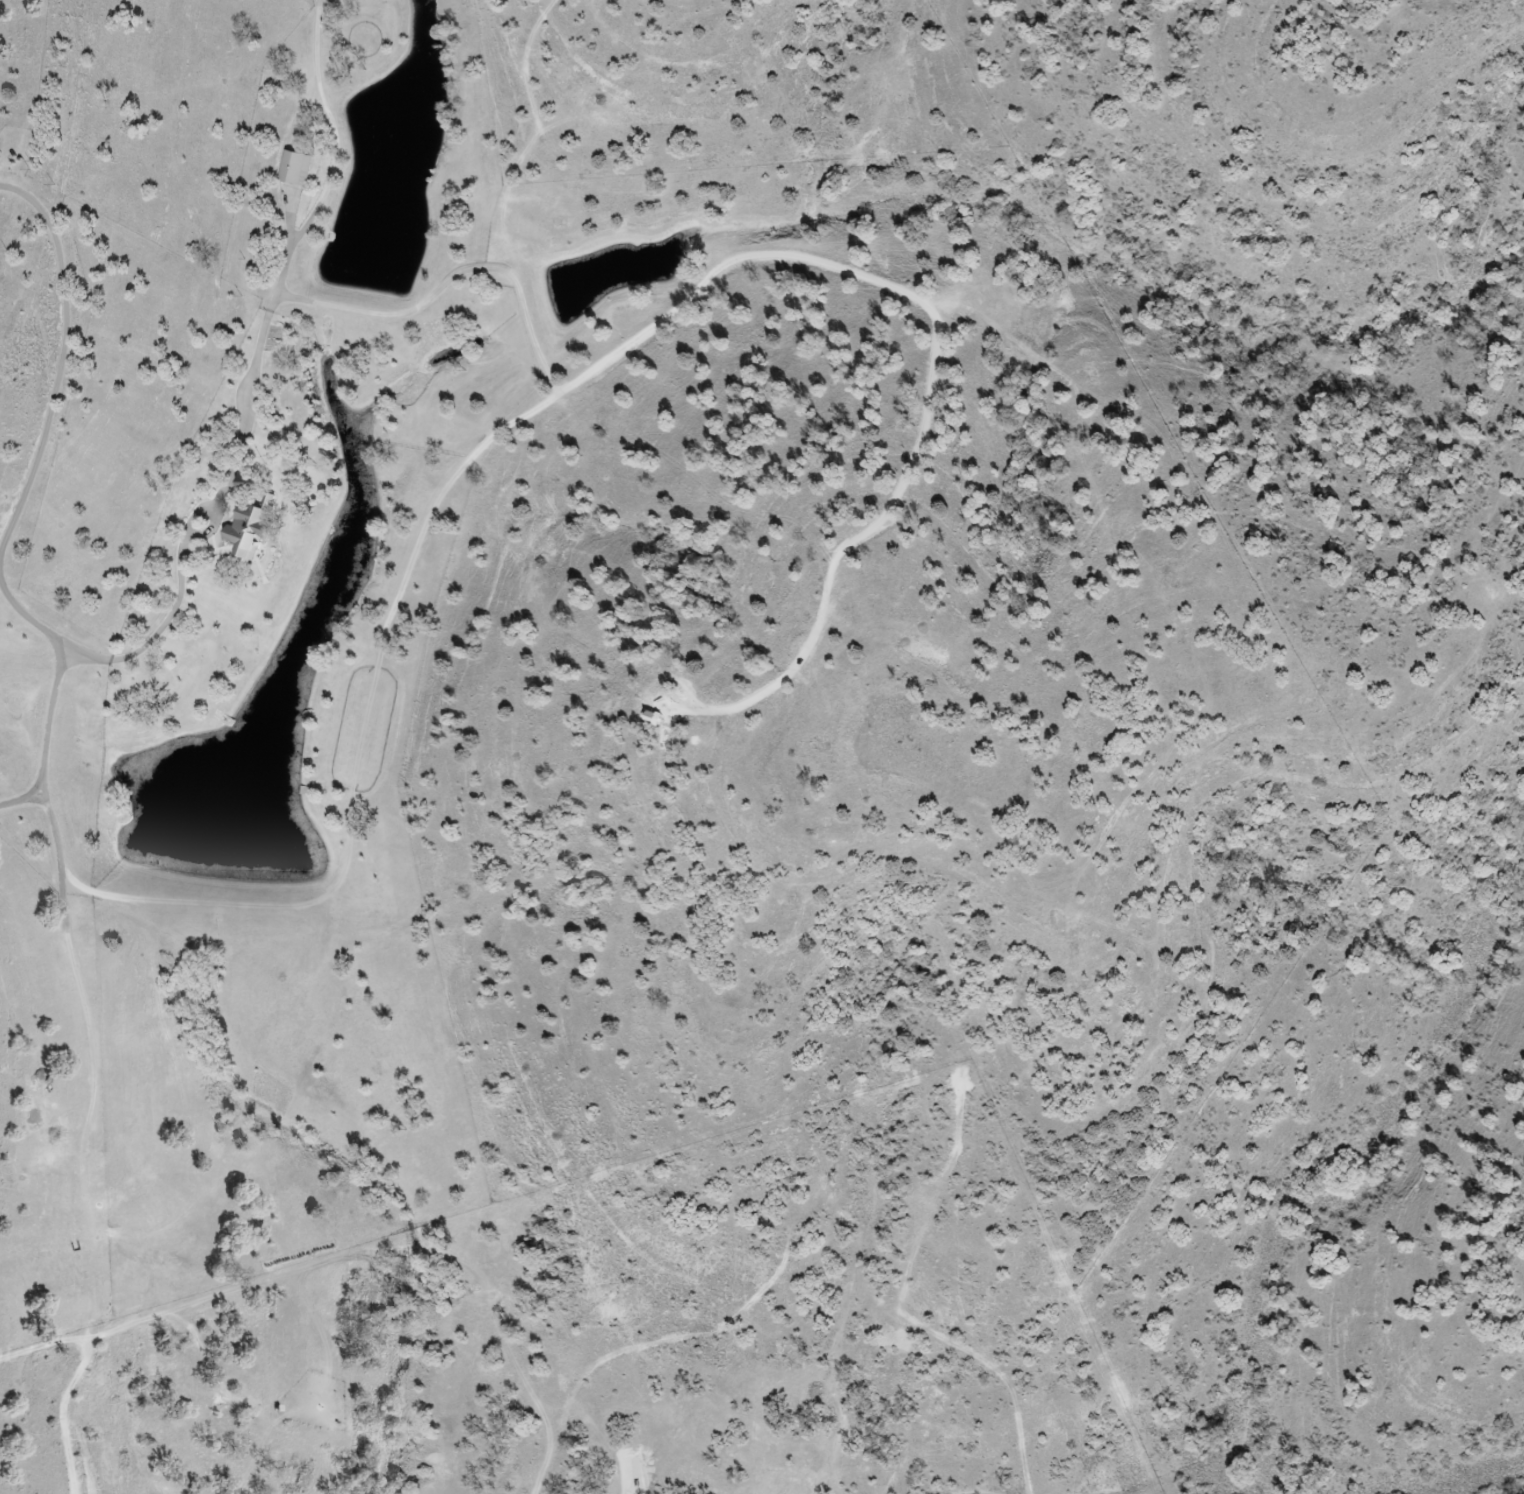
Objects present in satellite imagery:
building: (301, 167)
road: (51, 420)
building: (255, 482)
building: (254, 526)
road: (178, 618)
road: (46, 742)

